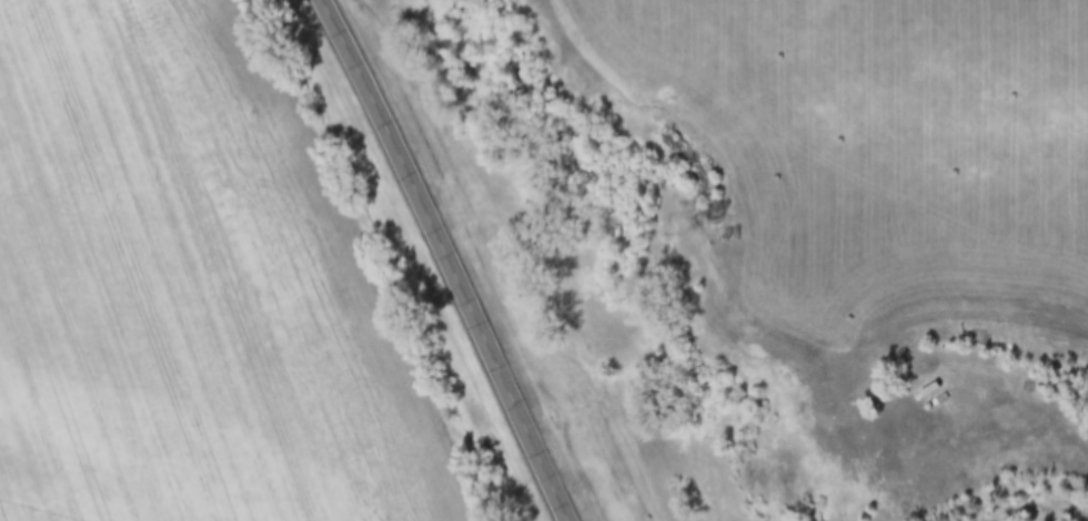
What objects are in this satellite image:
road: (446, 257)

